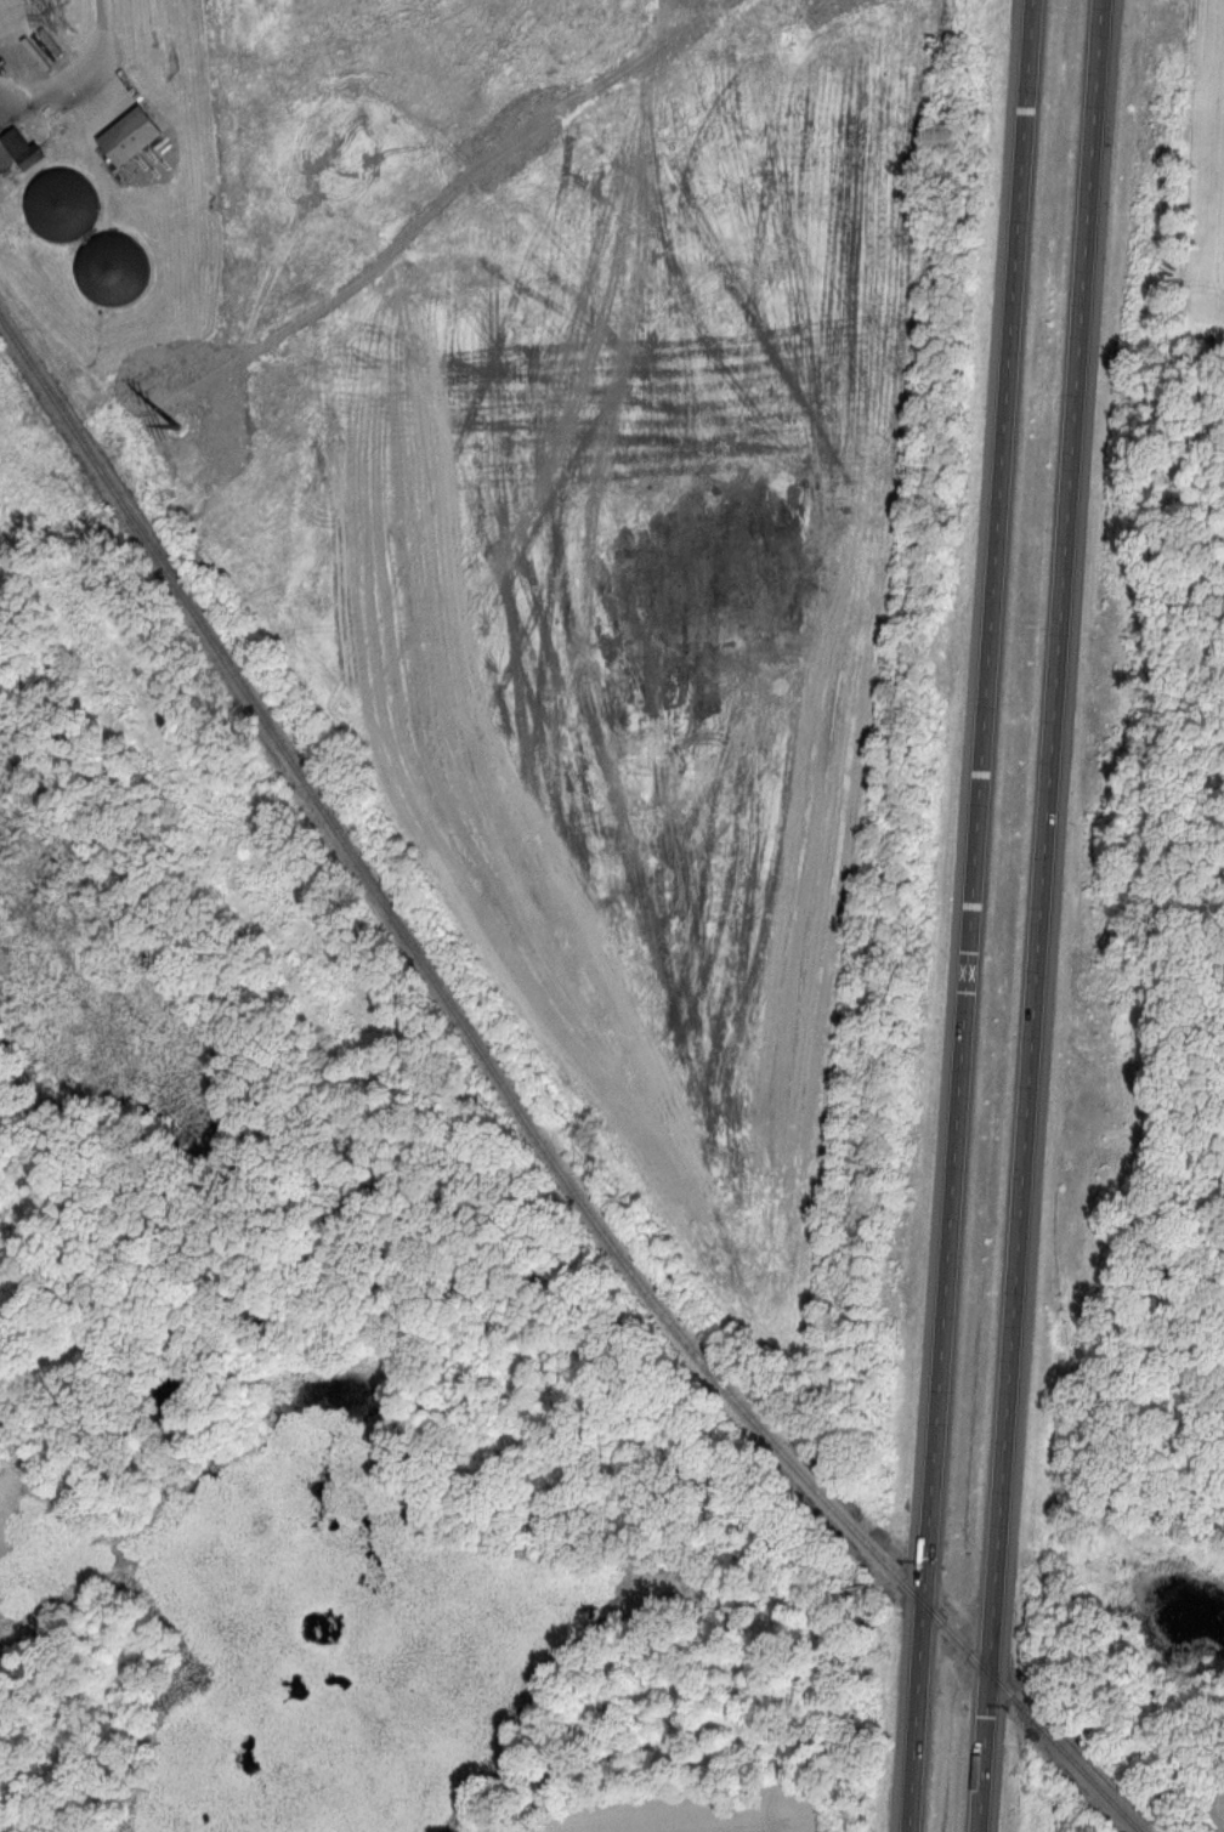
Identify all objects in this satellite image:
power tower: (64, 13)
road: (81, 80)
power tower: (174, 424)
road: (976, 801)
road: (1042, 835)
railway: (436, 987)
railway: (956, 1638)
road: (916, 1717)
road: (981, 1752)
railway: (1062, 1752)
road: (472, 1830)

